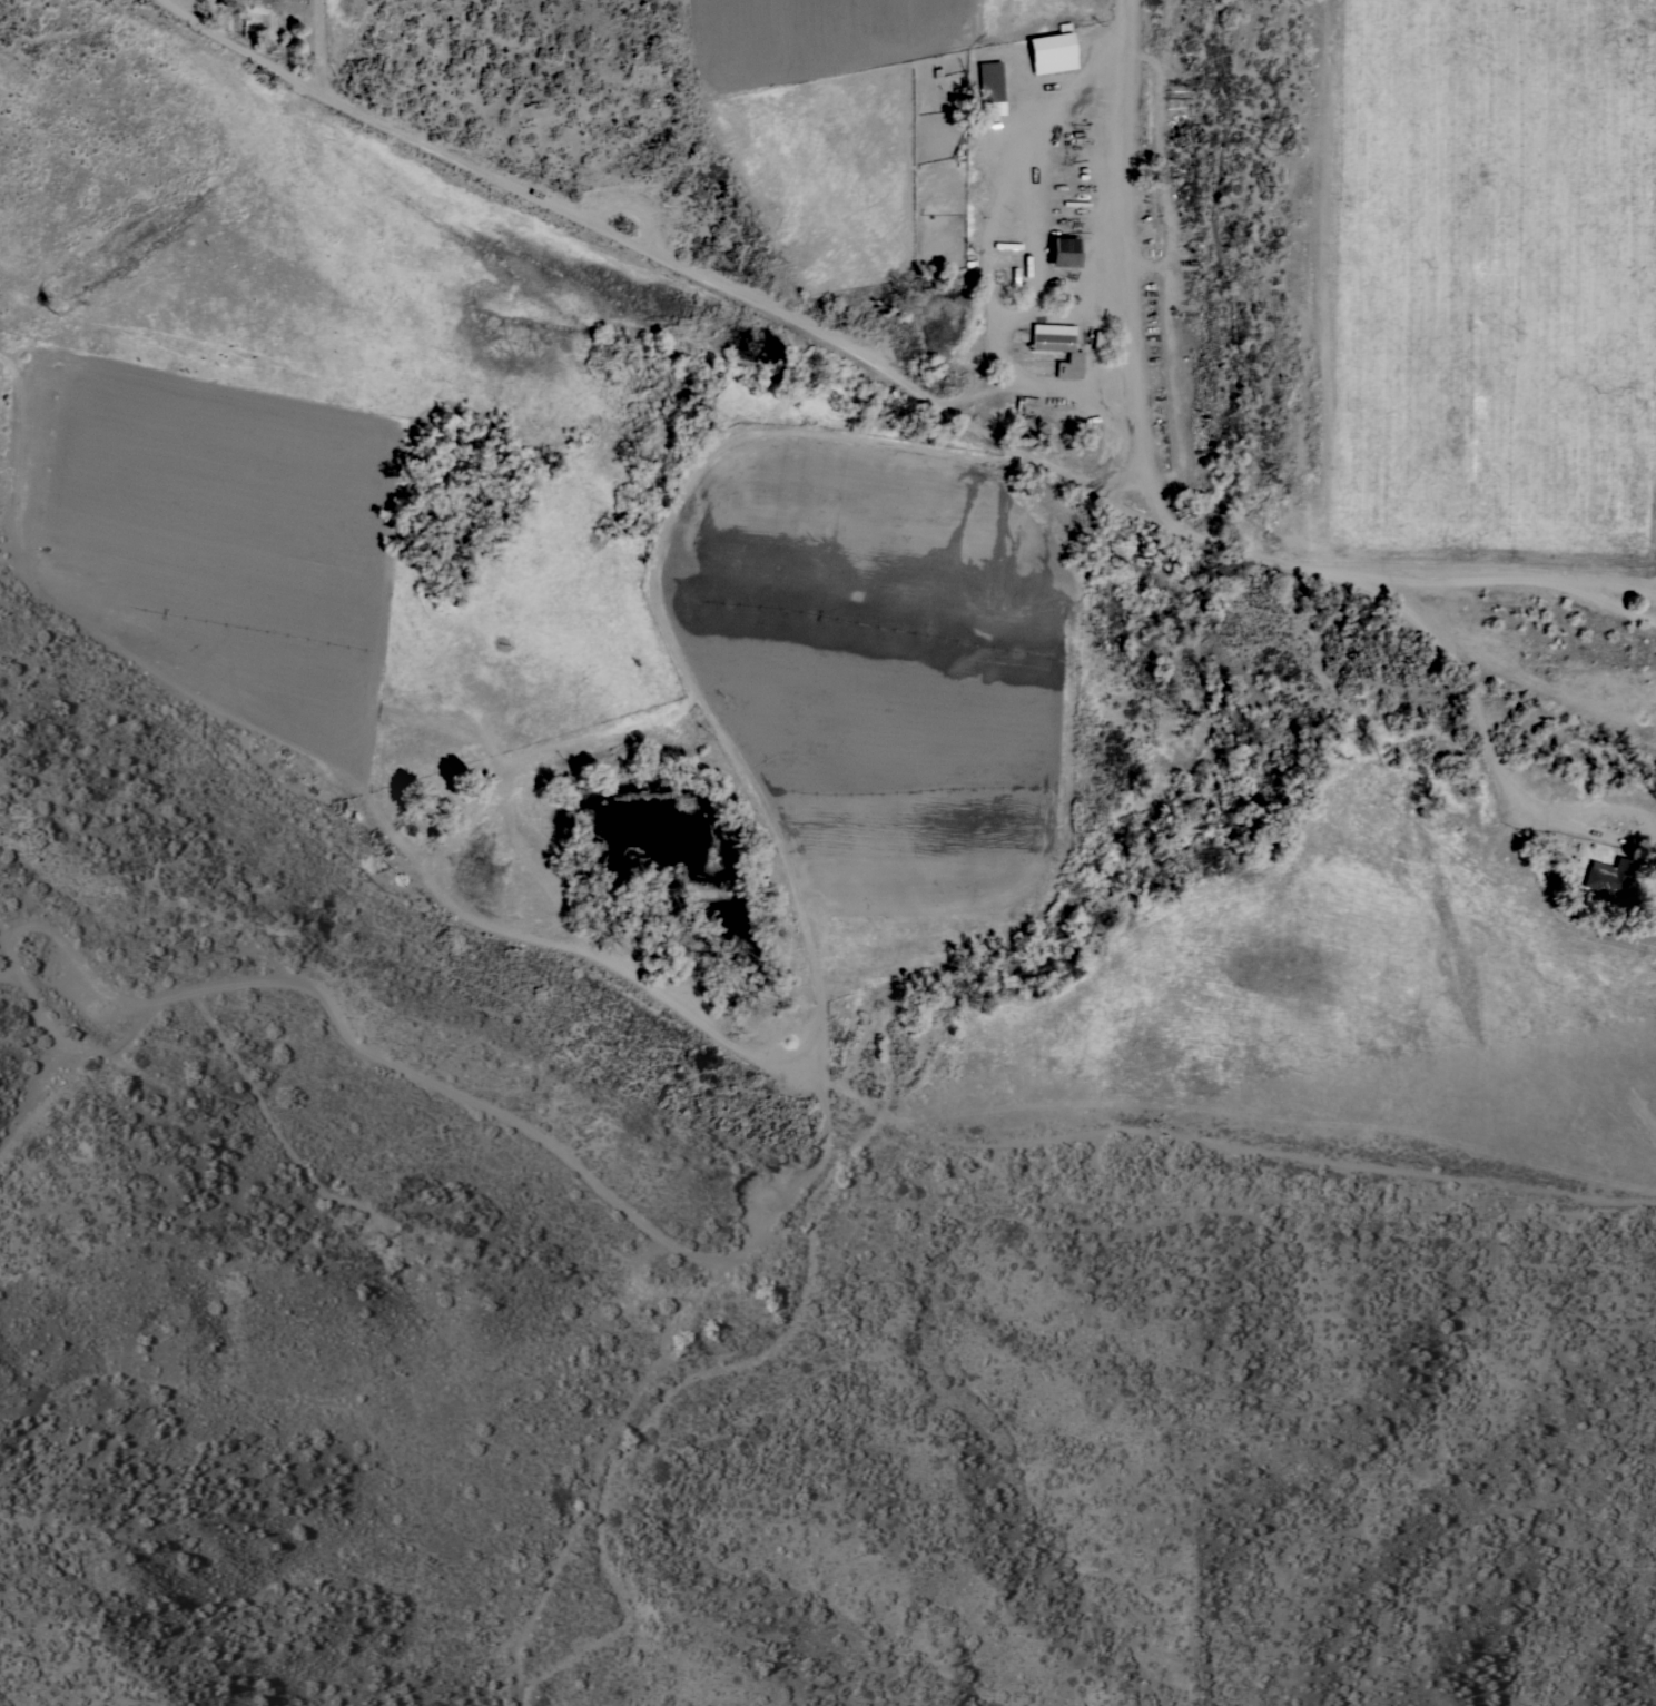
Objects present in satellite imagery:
building: (1052, 50)
building: (989, 87)
crop: (840, 115)
road: (1104, 187)
building: (1063, 250)
crop: (1488, 293)
building: (1098, 339)
building: (1058, 346)
building: (1027, 404)
road: (1328, 575)
road: (1524, 579)
road: (1613, 605)
crop: (878, 688)
crop: (1468, 1009)

